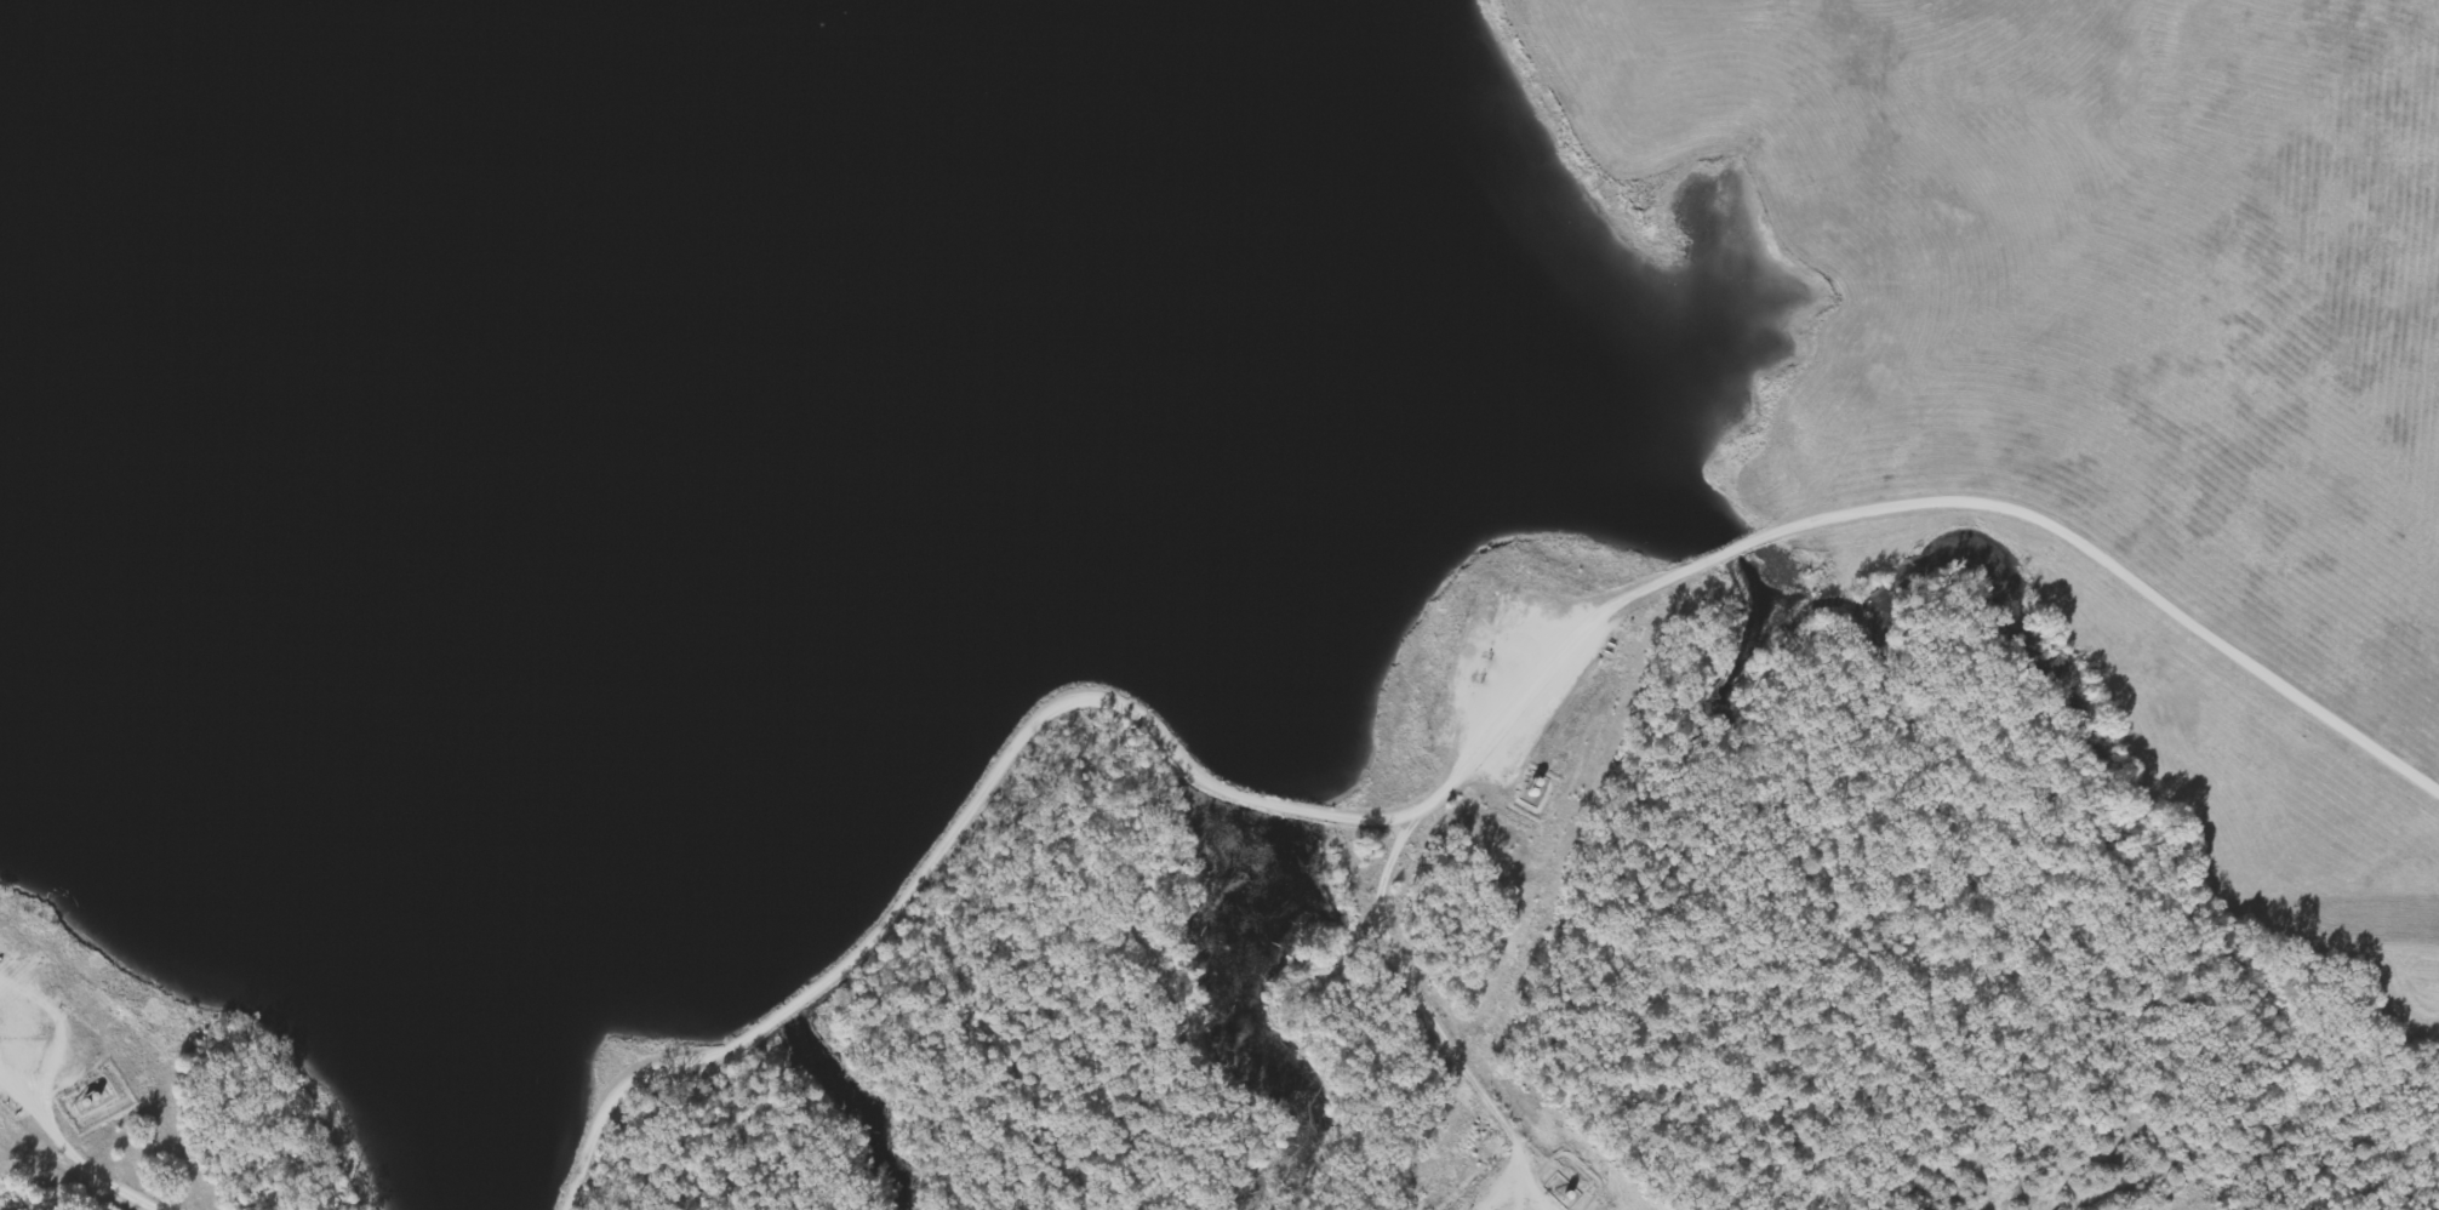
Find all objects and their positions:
road: (1493, 1084)

